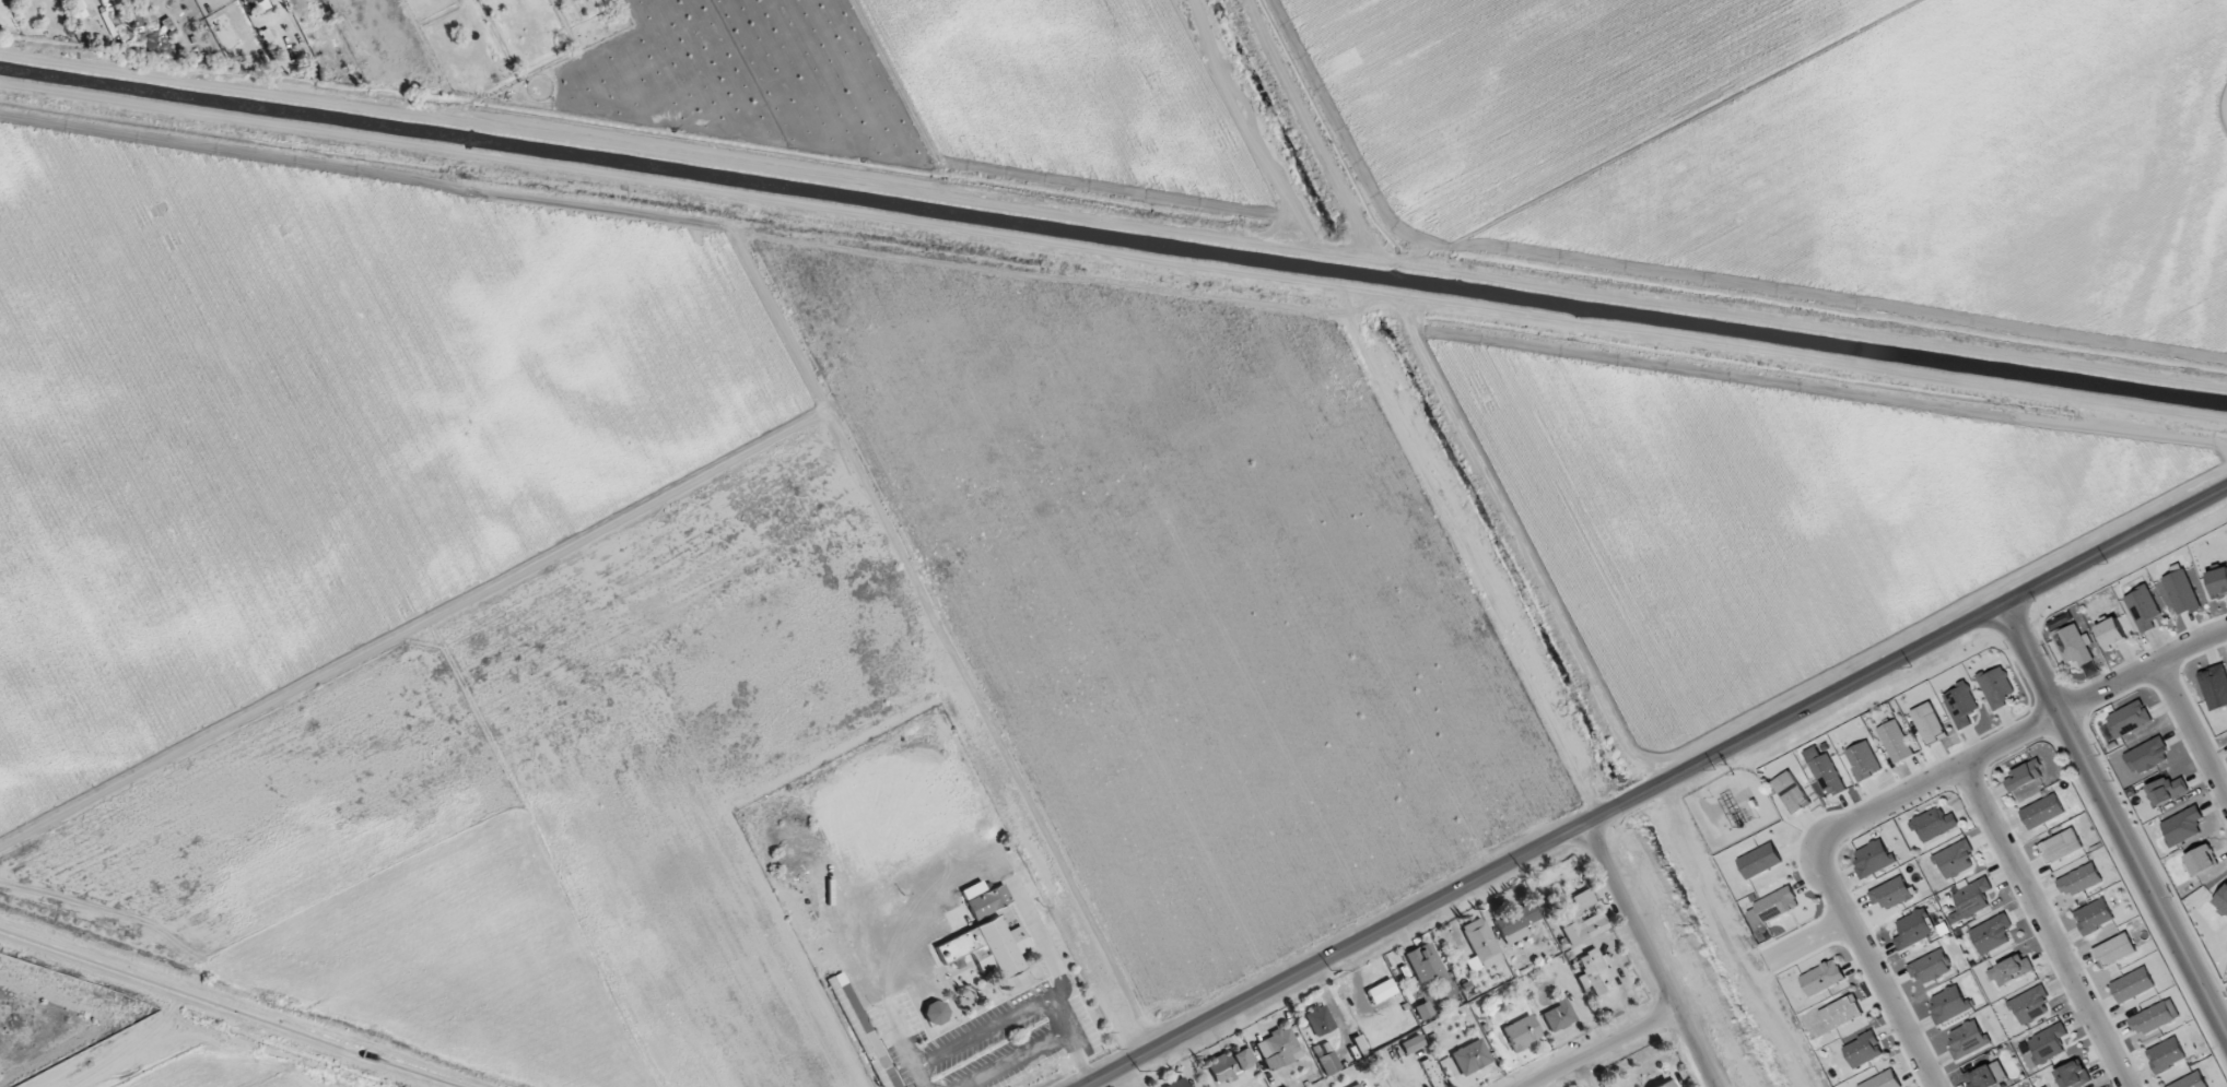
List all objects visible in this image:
building: (260, 5)
building: (77, 9)
building: (151, 34)
building: (2218, 582)
building: (2181, 592)
building: (2143, 609)
building: (2111, 634)
building: (2074, 645)
building: (2214, 686)
building: (1996, 687)
building: (1960, 705)
building: (2125, 721)
building: (1929, 723)
road: (2191, 736)
building: (1895, 742)
building: (2147, 756)
building: (1863, 760)
building: (1825, 772)
building: (2023, 776)
road: (1657, 788)
building: (2167, 790)
building: (1792, 792)
road: (1902, 796)
building: (2042, 812)
road: (2112, 822)
building: (1934, 824)
building: (2182, 826)
building: (2061, 846)
building: (1873, 858)
building: (1955, 859)
building: (2202, 860)
building: (1759, 861)
road: (947, 878)
building: (2079, 879)
building: (973, 890)
building: (1891, 894)
building: (988, 900)
building: (1970, 900)
building: (2222, 901)
building: (1777, 905)
building: (2094, 915)
building: (1580, 917)
building: (1516, 922)
road: (2044, 928)
building: (1913, 929)
building: (1992, 934)
road: (1806, 937)
road: (1728, 938)
building: (1480, 942)
building: (991, 947)
building: (2114, 950)
road: (1653, 956)
building: (1425, 962)
building: (1930, 967)
building: (2011, 970)
building: (1595, 972)
building: (1821, 978)
building: (2132, 985)
building: (1381, 991)
building: (1949, 1004)
building: (2030, 1005)
building: (1423, 1011)
building: (936, 1013)
building: (1840, 1013)
building: (1558, 1014)
road: (1015, 1015)
building: (2154, 1017)
building: (1320, 1019)
building: (864, 1030)
building: (1520, 1032)
building: (1967, 1040)
building: (2048, 1043)
building: (1411, 1044)
building: (1278, 1048)
road: (1607, 1048)
building: (1863, 1050)
building: (2166, 1054)
building: (1470, 1056)
road: (1013, 1060)
building: (1329, 1063)
building: (1230, 1064)
building: (2073, 1075)
building: (1988, 1076)
building: (1883, 1080)
building: (2191, 1080)
building: (1179, 1083)
building: (1667, 1084)
building: (1359, 1085)

